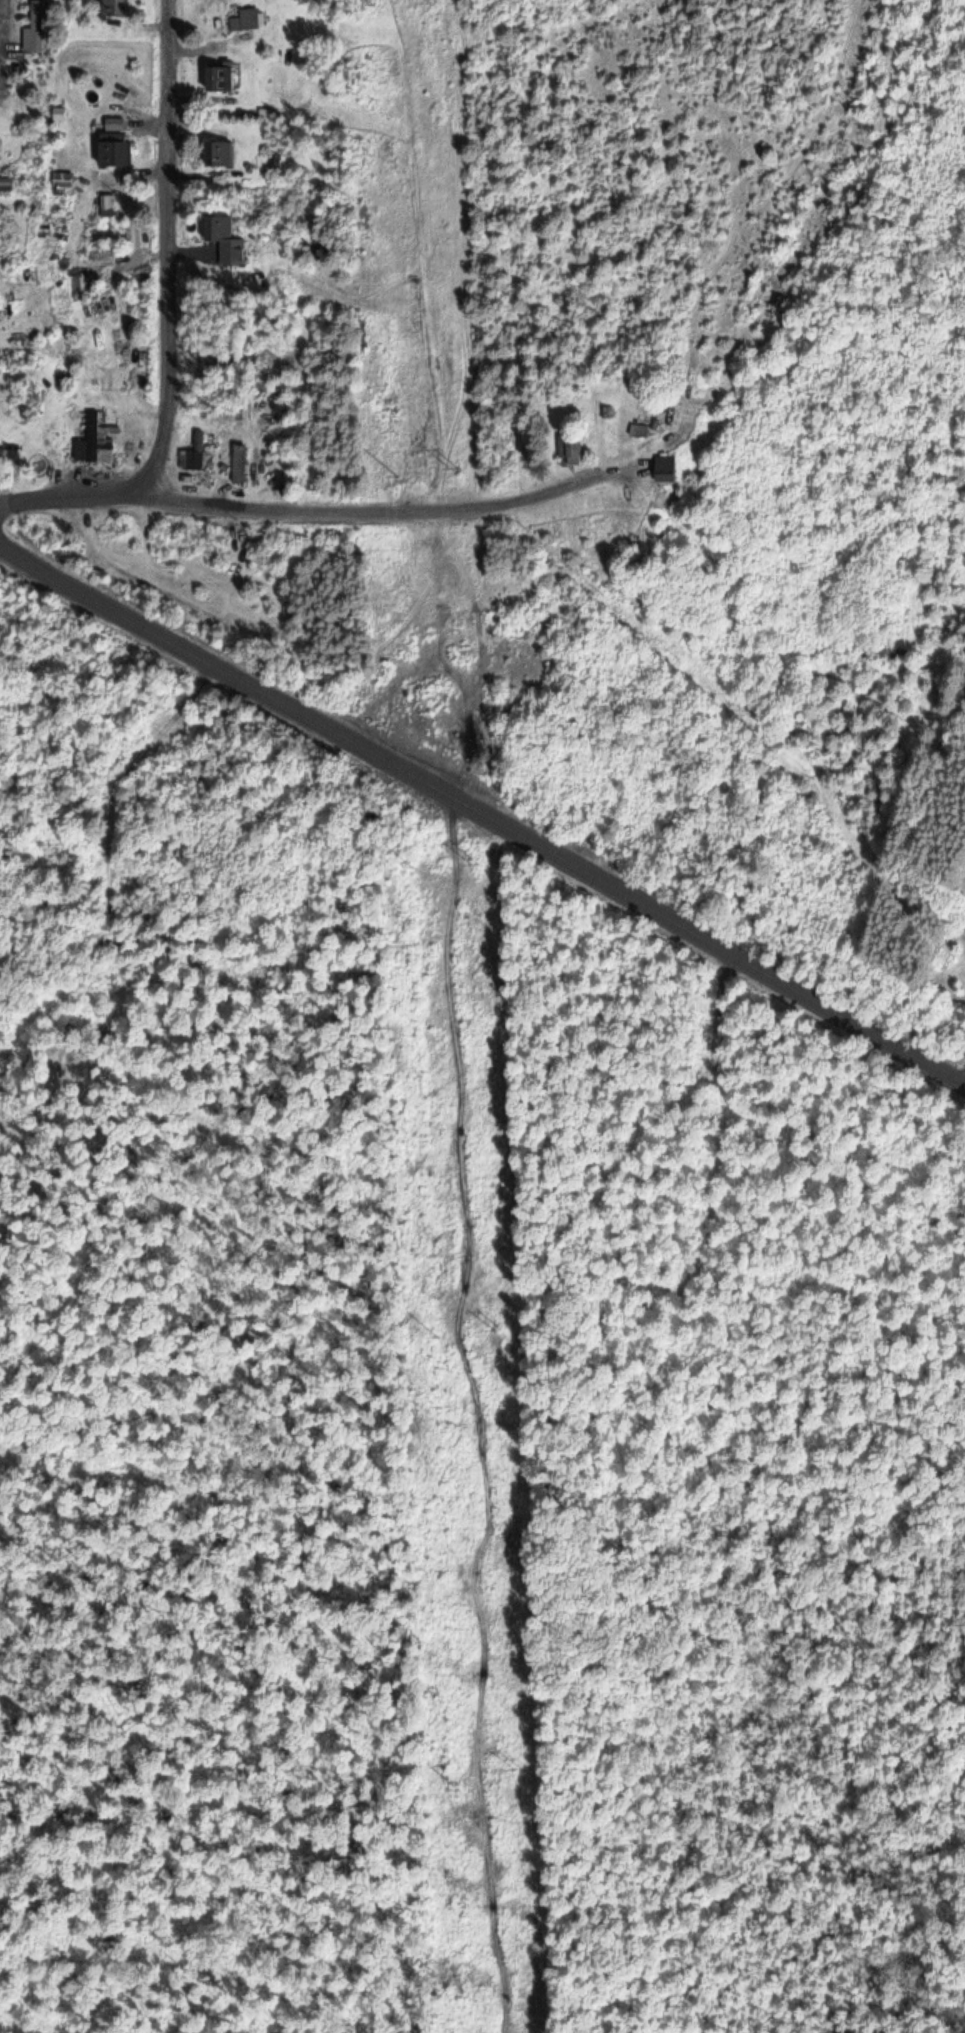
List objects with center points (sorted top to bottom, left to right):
building: (117, 9)
building: (220, 77)
building: (118, 152)
building: (223, 153)
building: (66, 181)
building: (228, 238)
road: (172, 248)
building: (0, 298)
building: (102, 441)
building: (571, 445)
building: (199, 449)
building: (243, 456)
building: (664, 465)
road: (318, 506)
road: (225, 659)
road: (707, 932)

